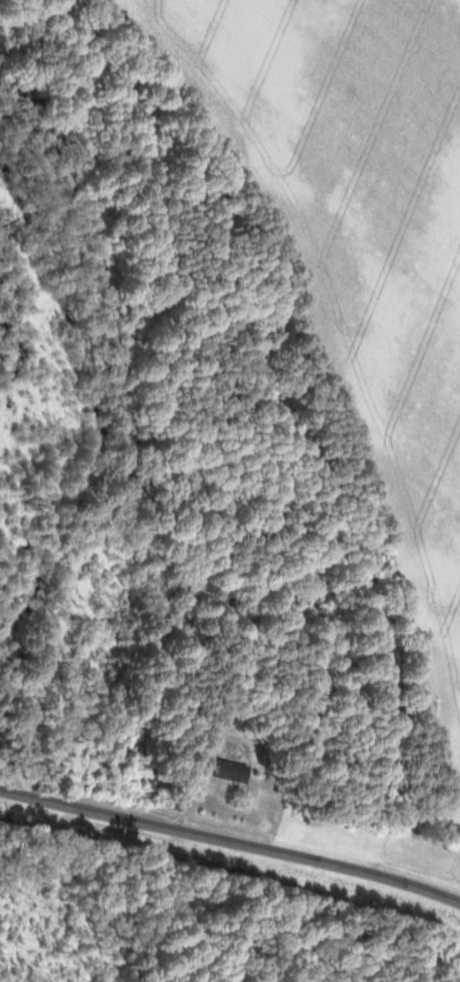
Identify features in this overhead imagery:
building: (230, 771)
building: (451, 838)
road: (231, 841)

